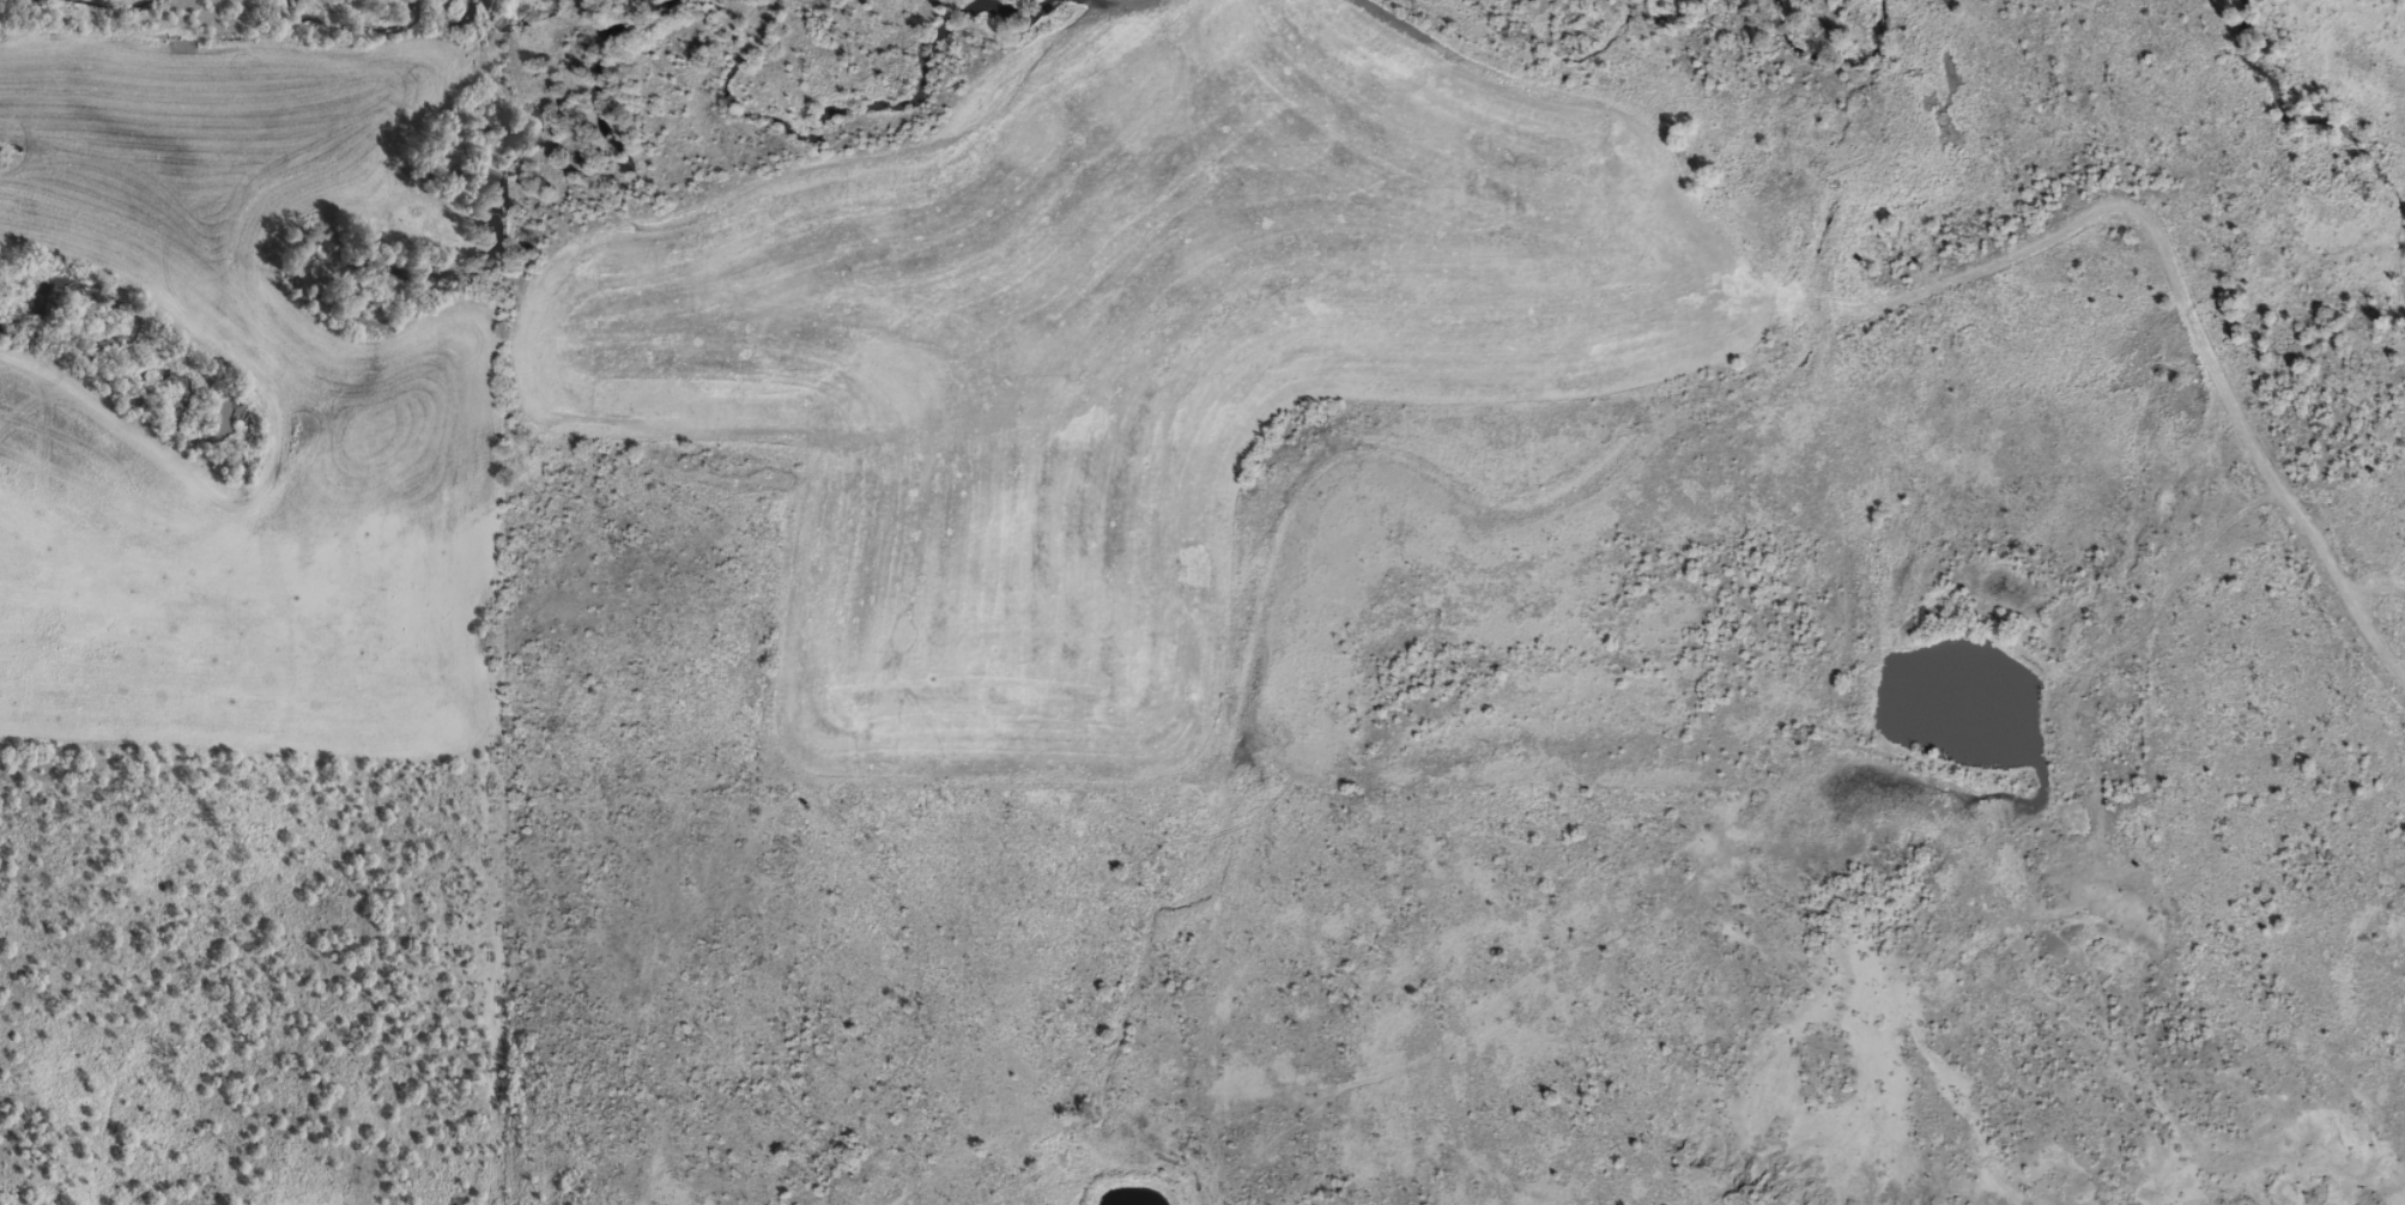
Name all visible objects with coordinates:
road: (2195, 386)

